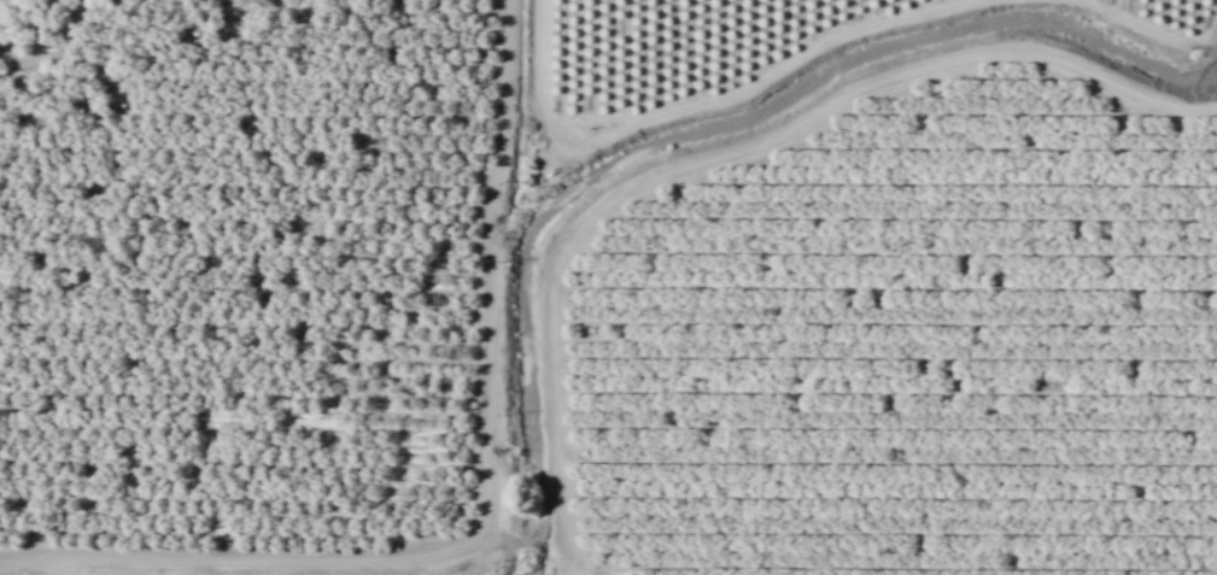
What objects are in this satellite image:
road: (1149, 28)
road: (696, 104)
road: (718, 154)
road: (488, 507)

